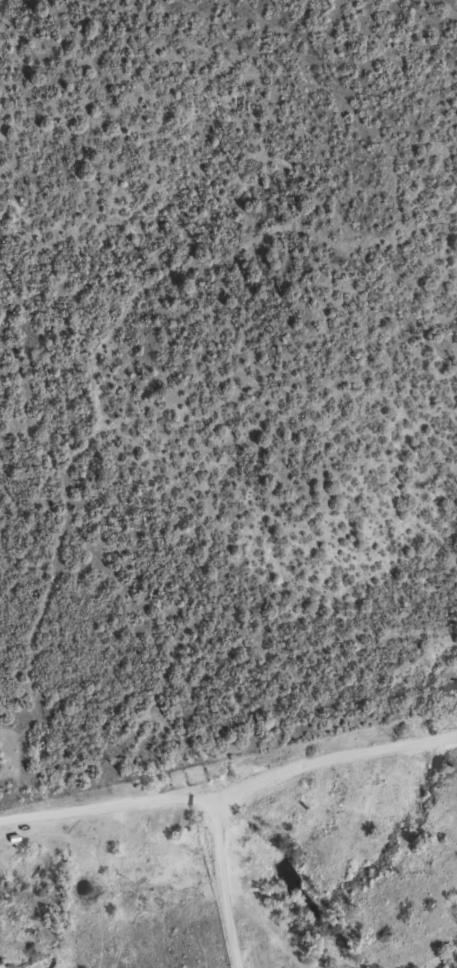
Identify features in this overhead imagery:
road: (187, 797)

